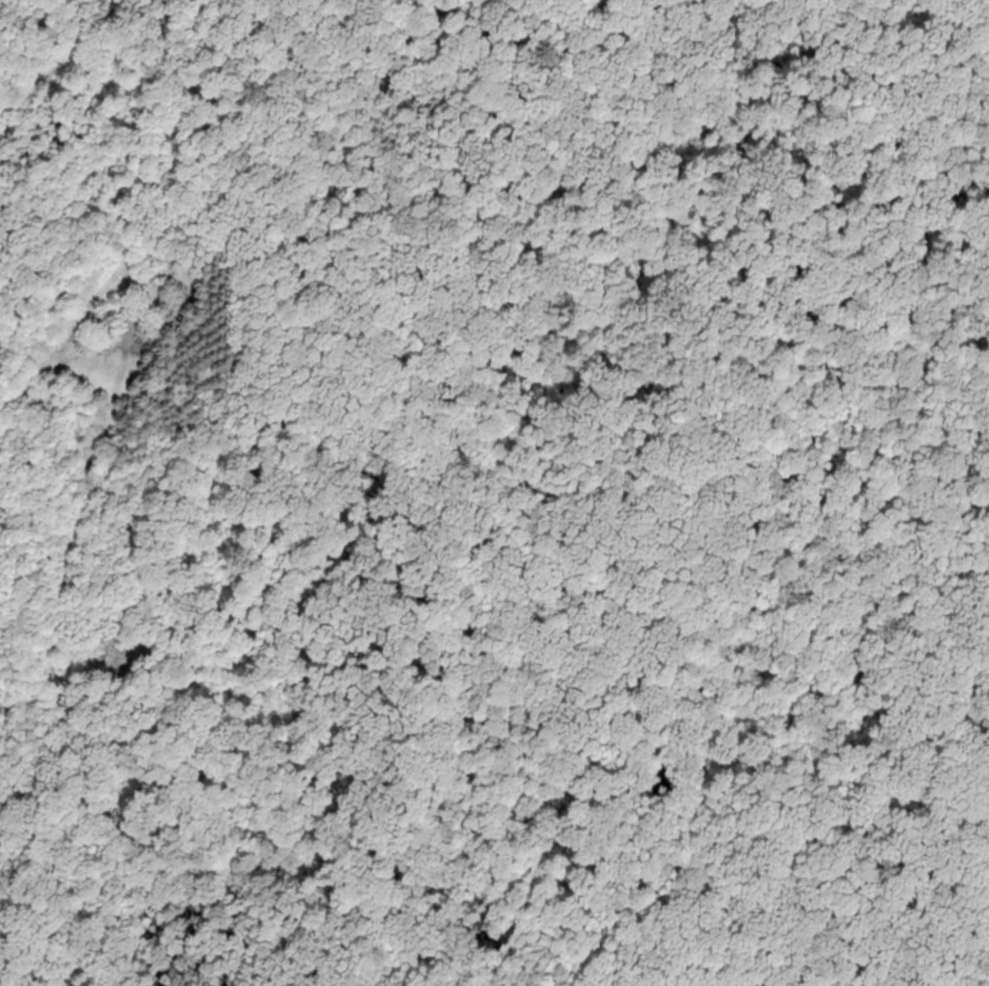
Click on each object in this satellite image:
park: (629, 489)

